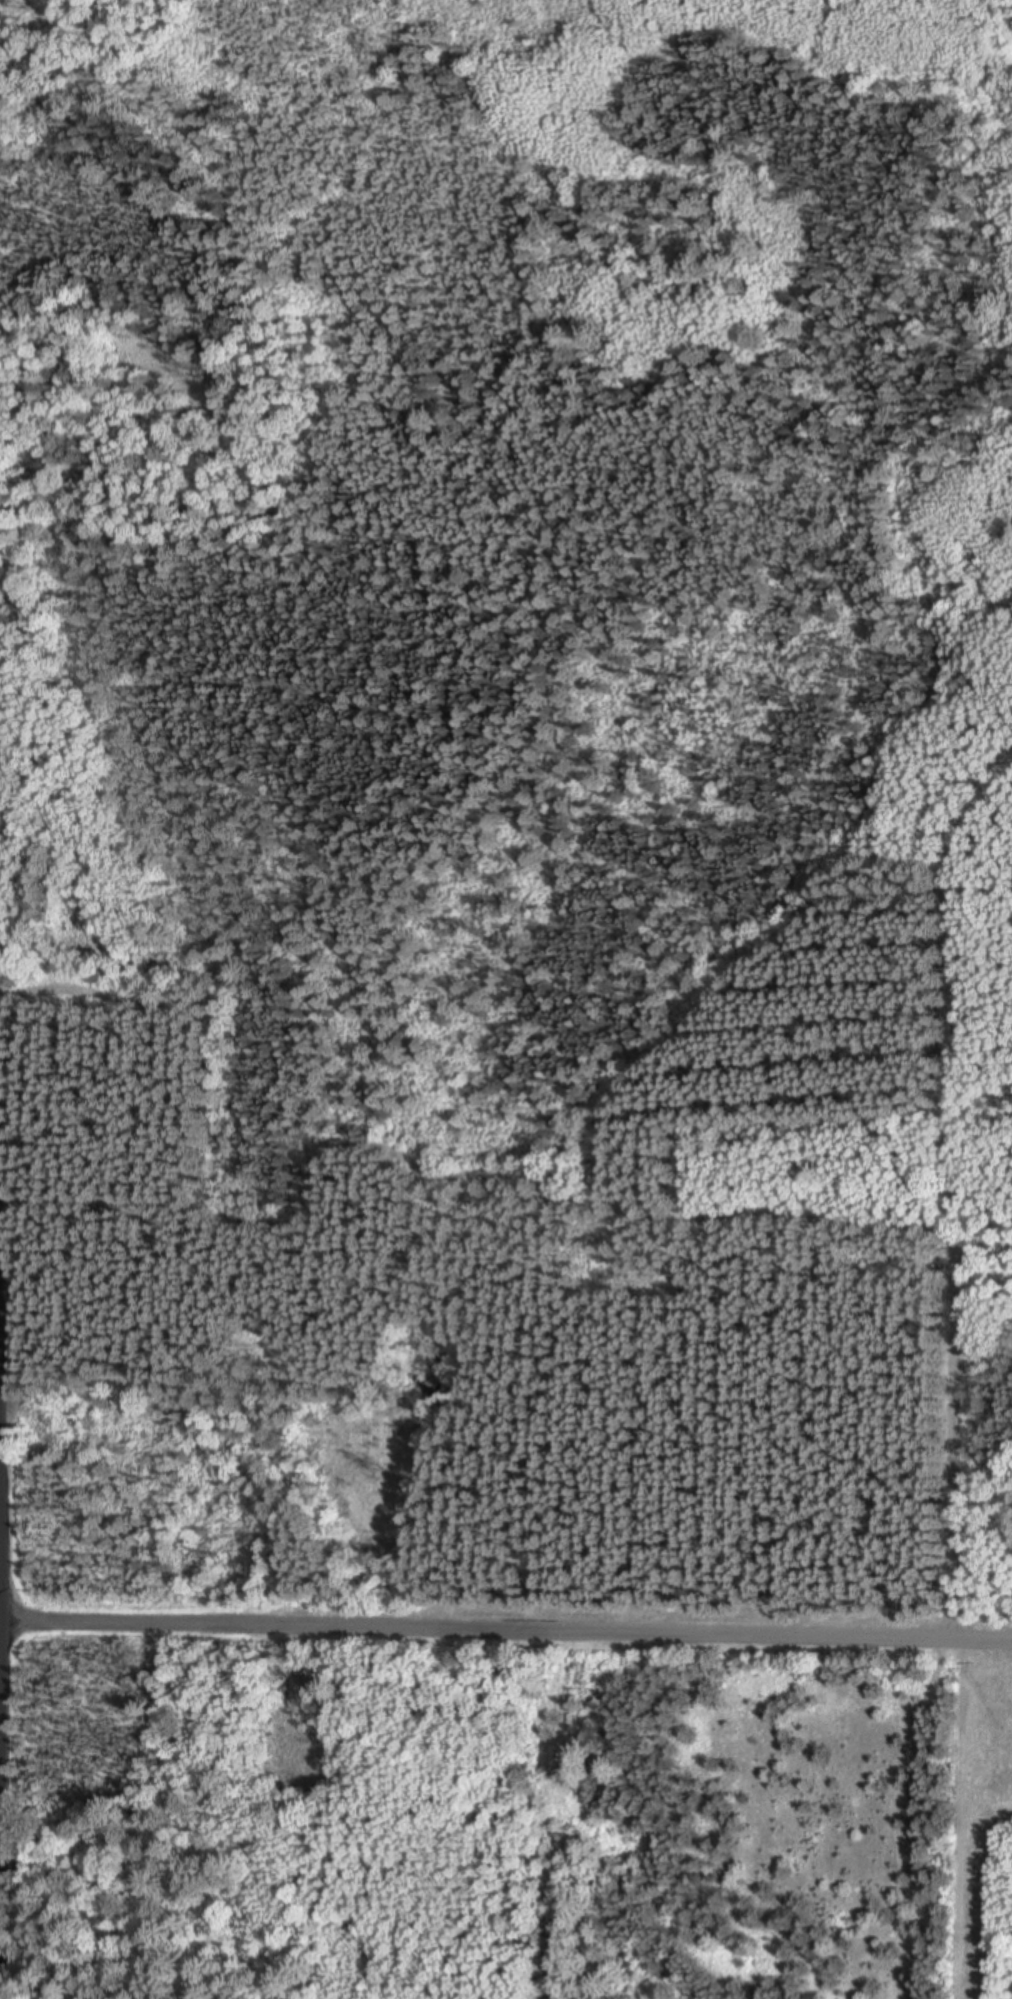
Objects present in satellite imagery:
road: (505, 1630)

